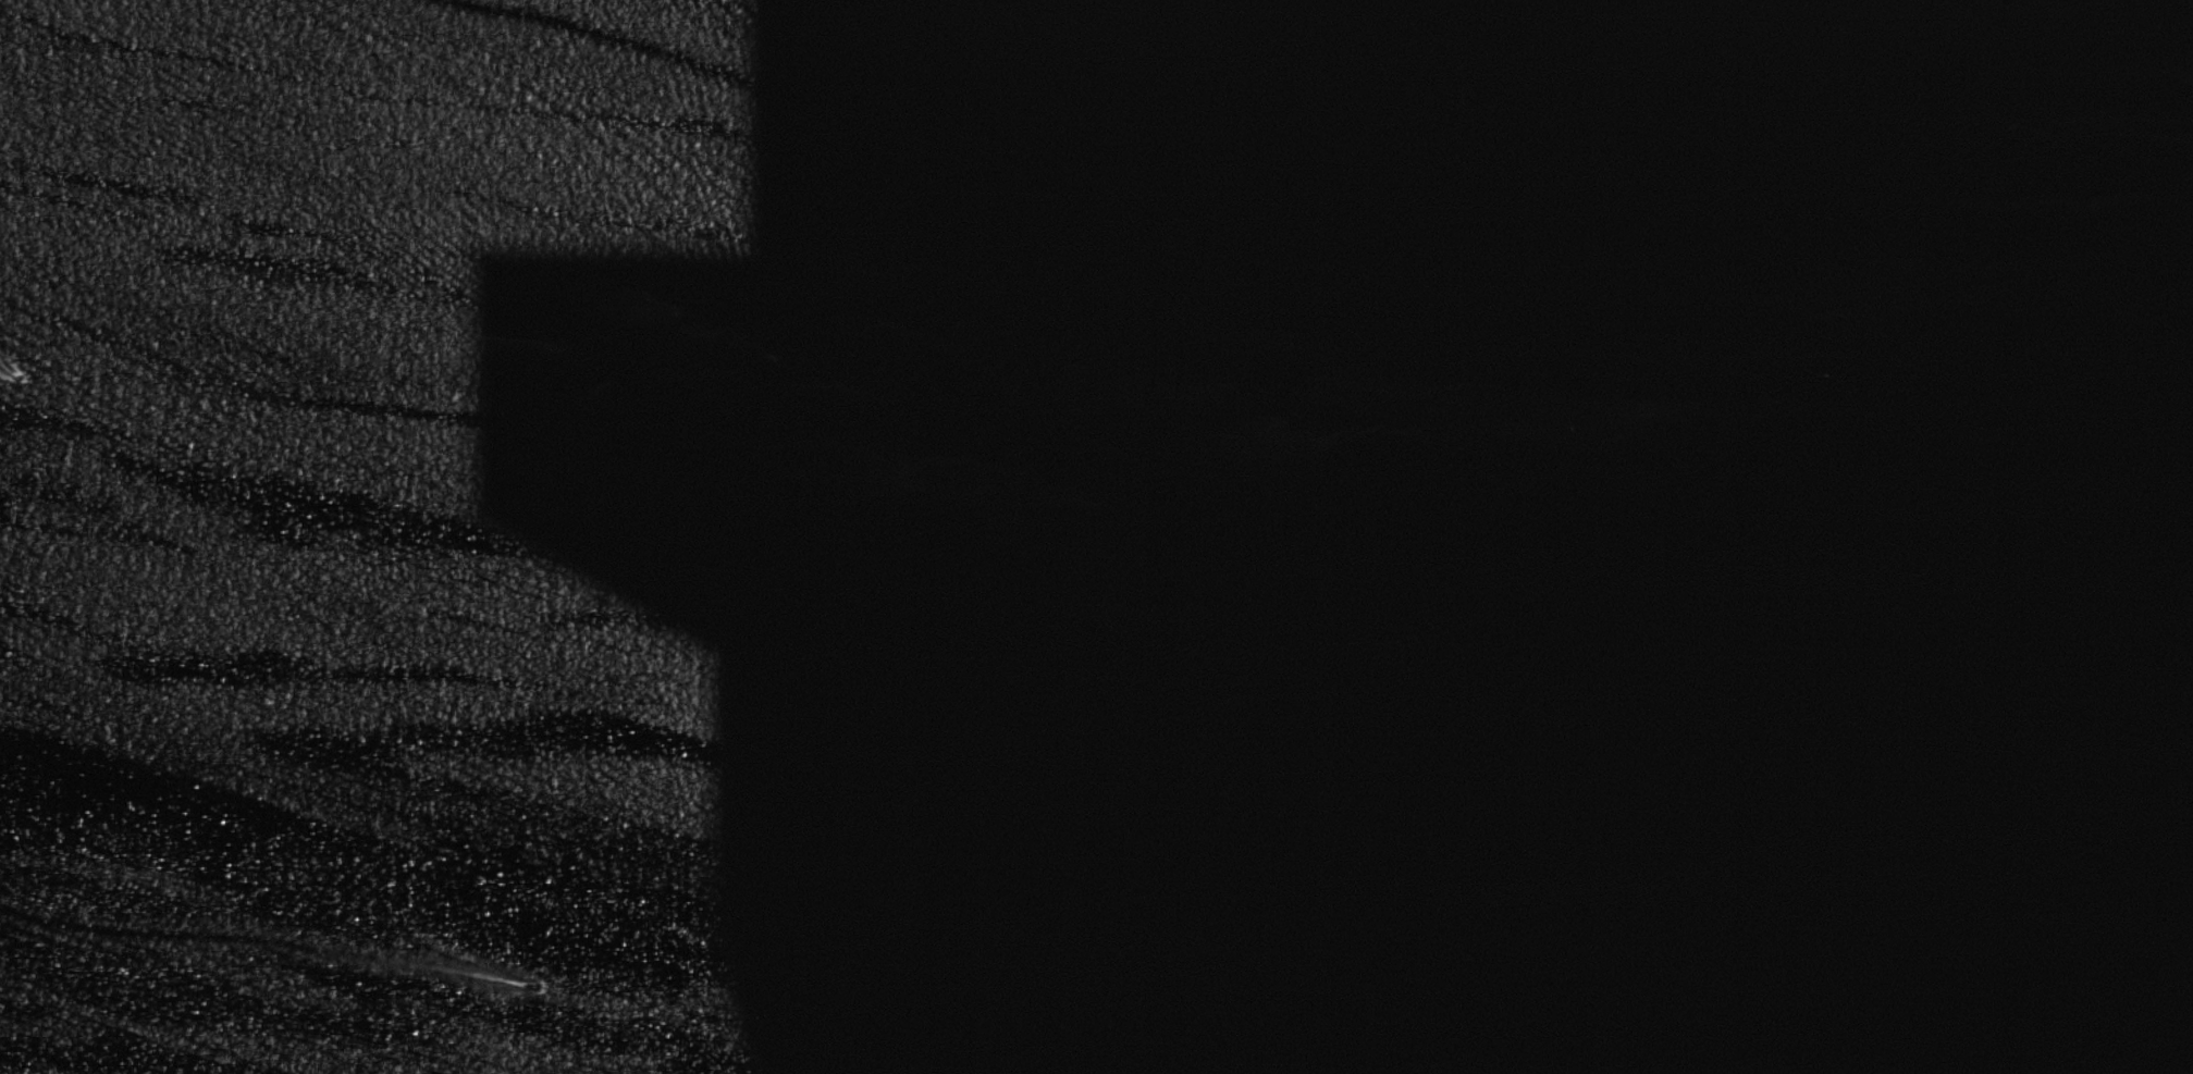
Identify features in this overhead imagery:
river: (1087, 639)

